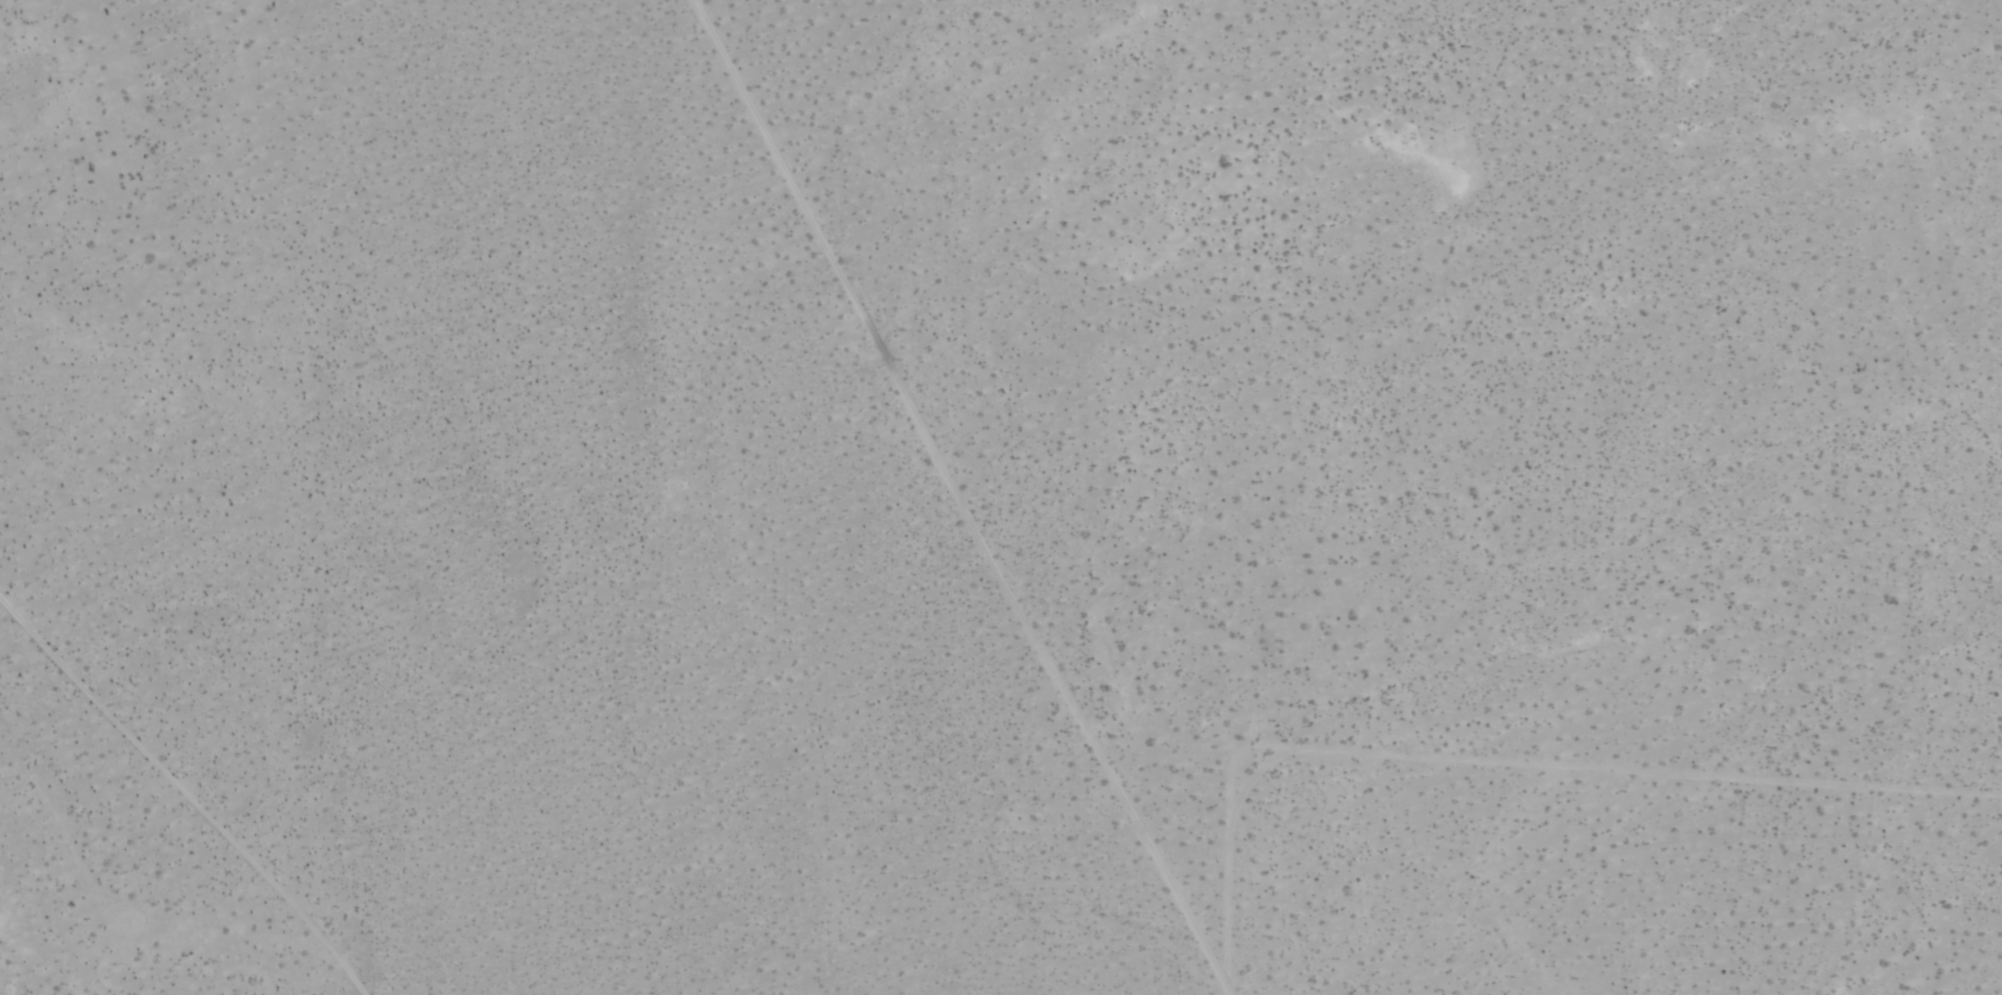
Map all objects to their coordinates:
road: (195, 800)

